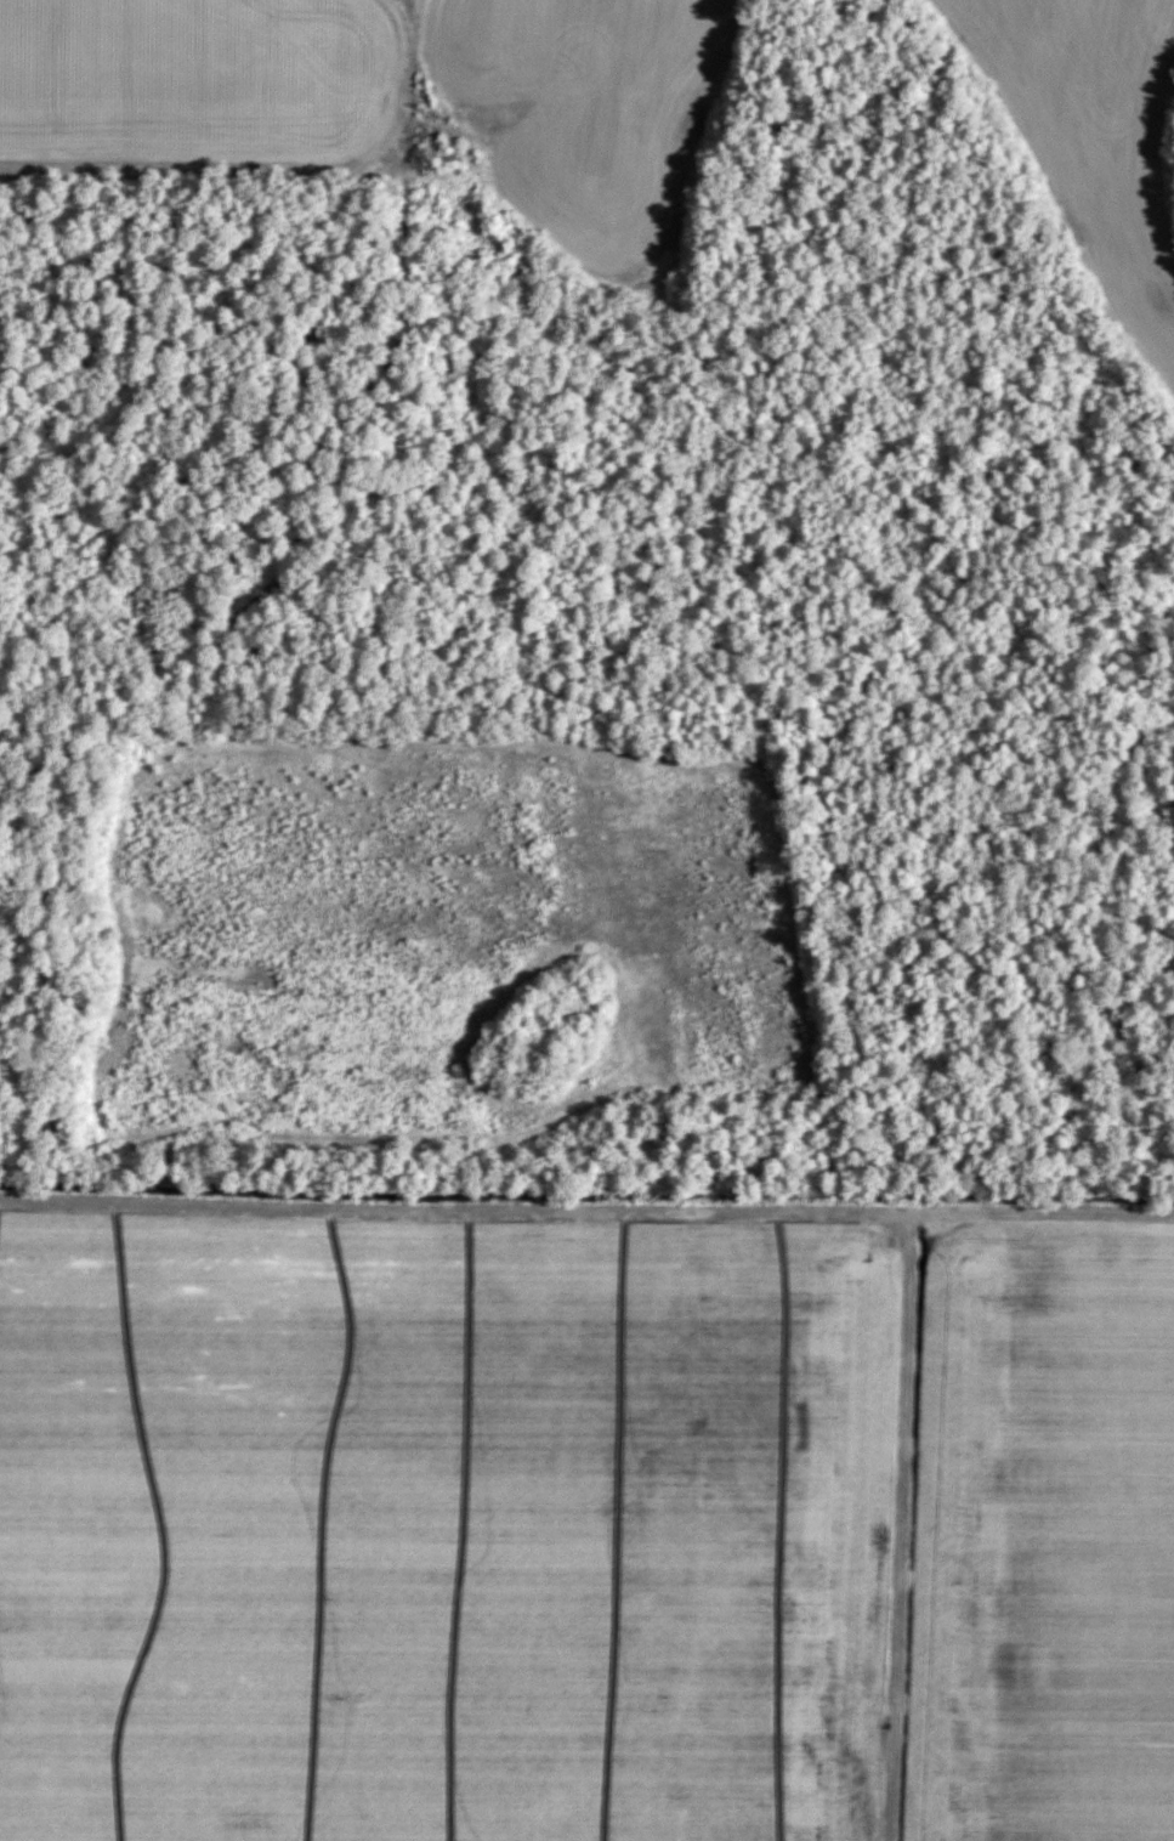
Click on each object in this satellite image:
road: (408, 86)

